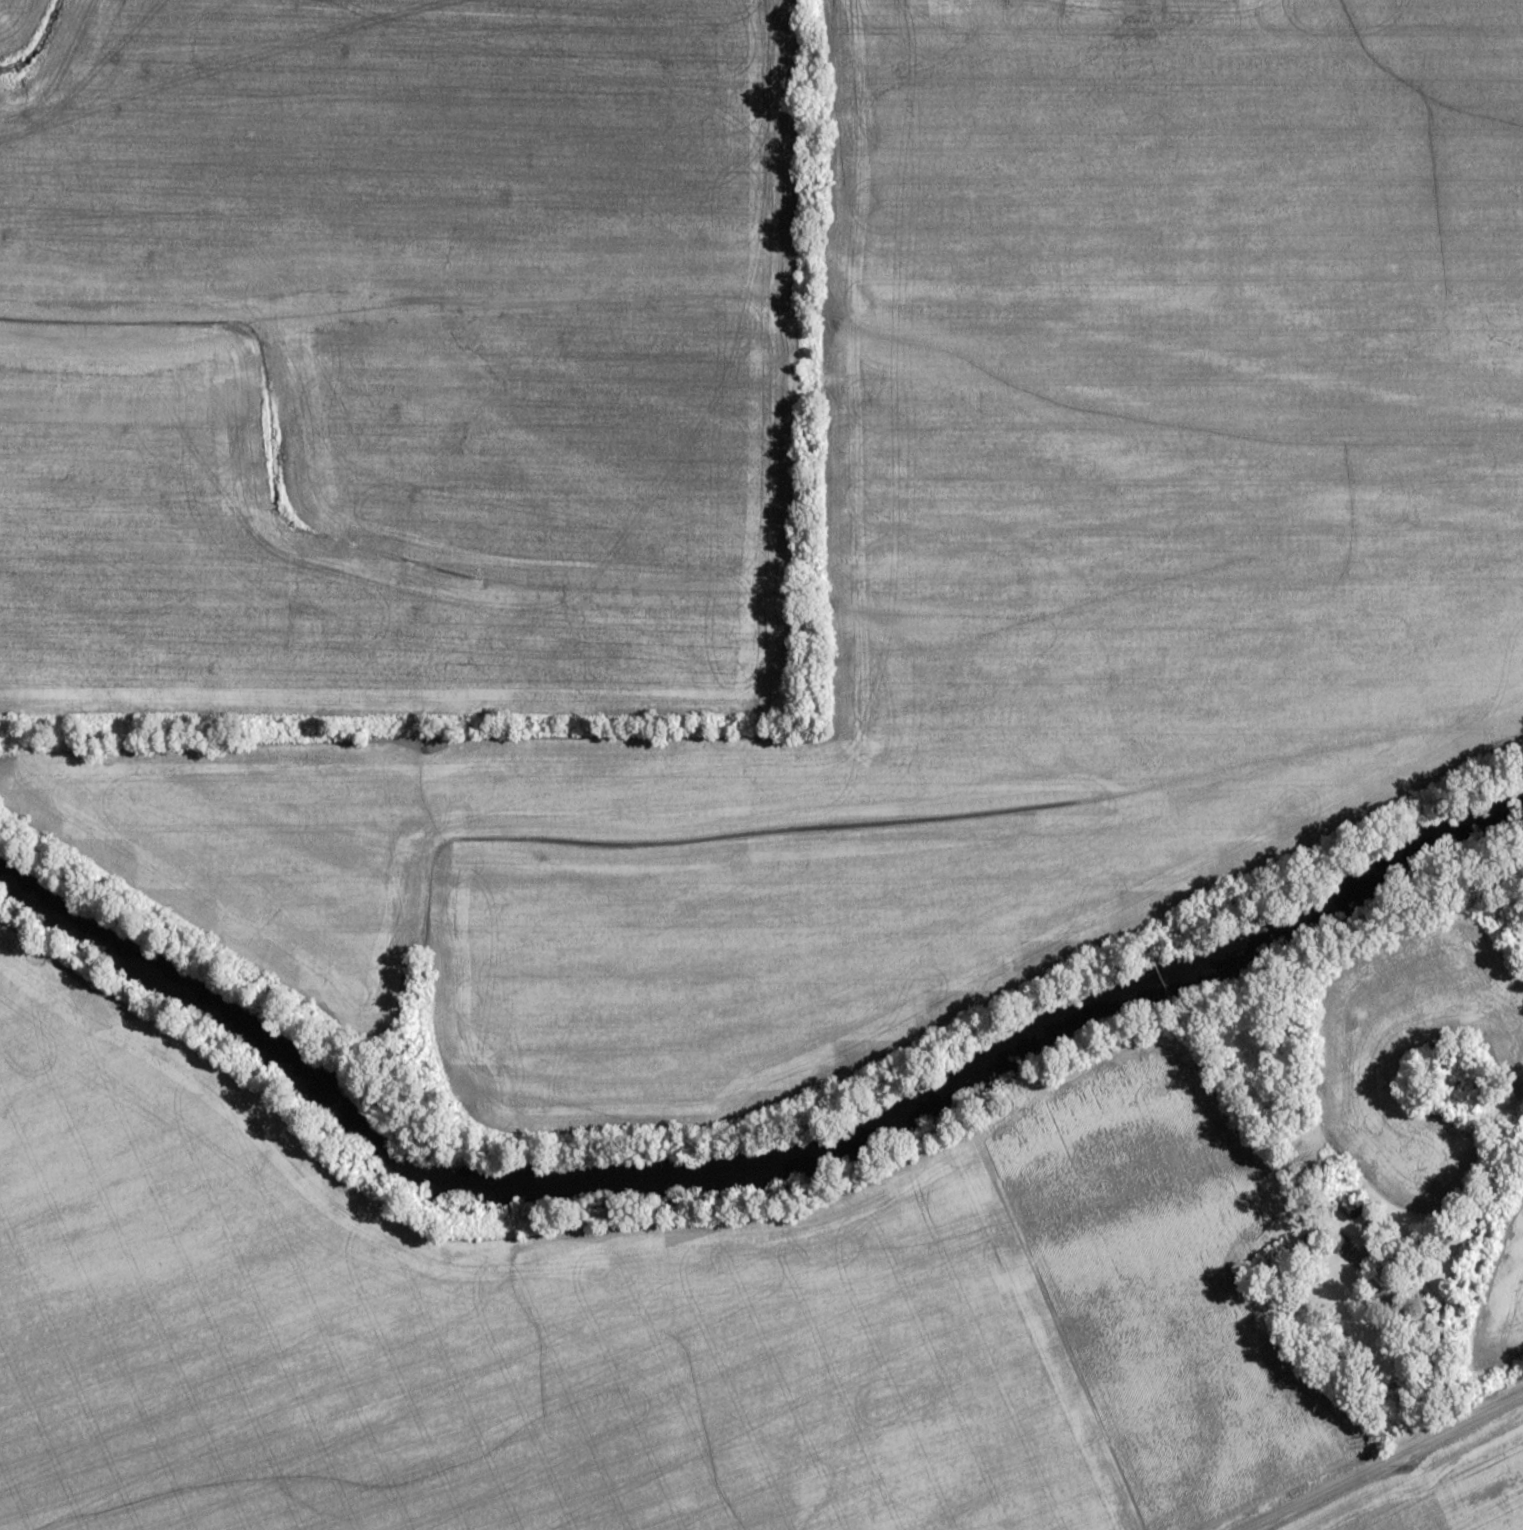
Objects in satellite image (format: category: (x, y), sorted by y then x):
road: (767, 703)
road: (1179, 1450)
road: (1378, 1457)

